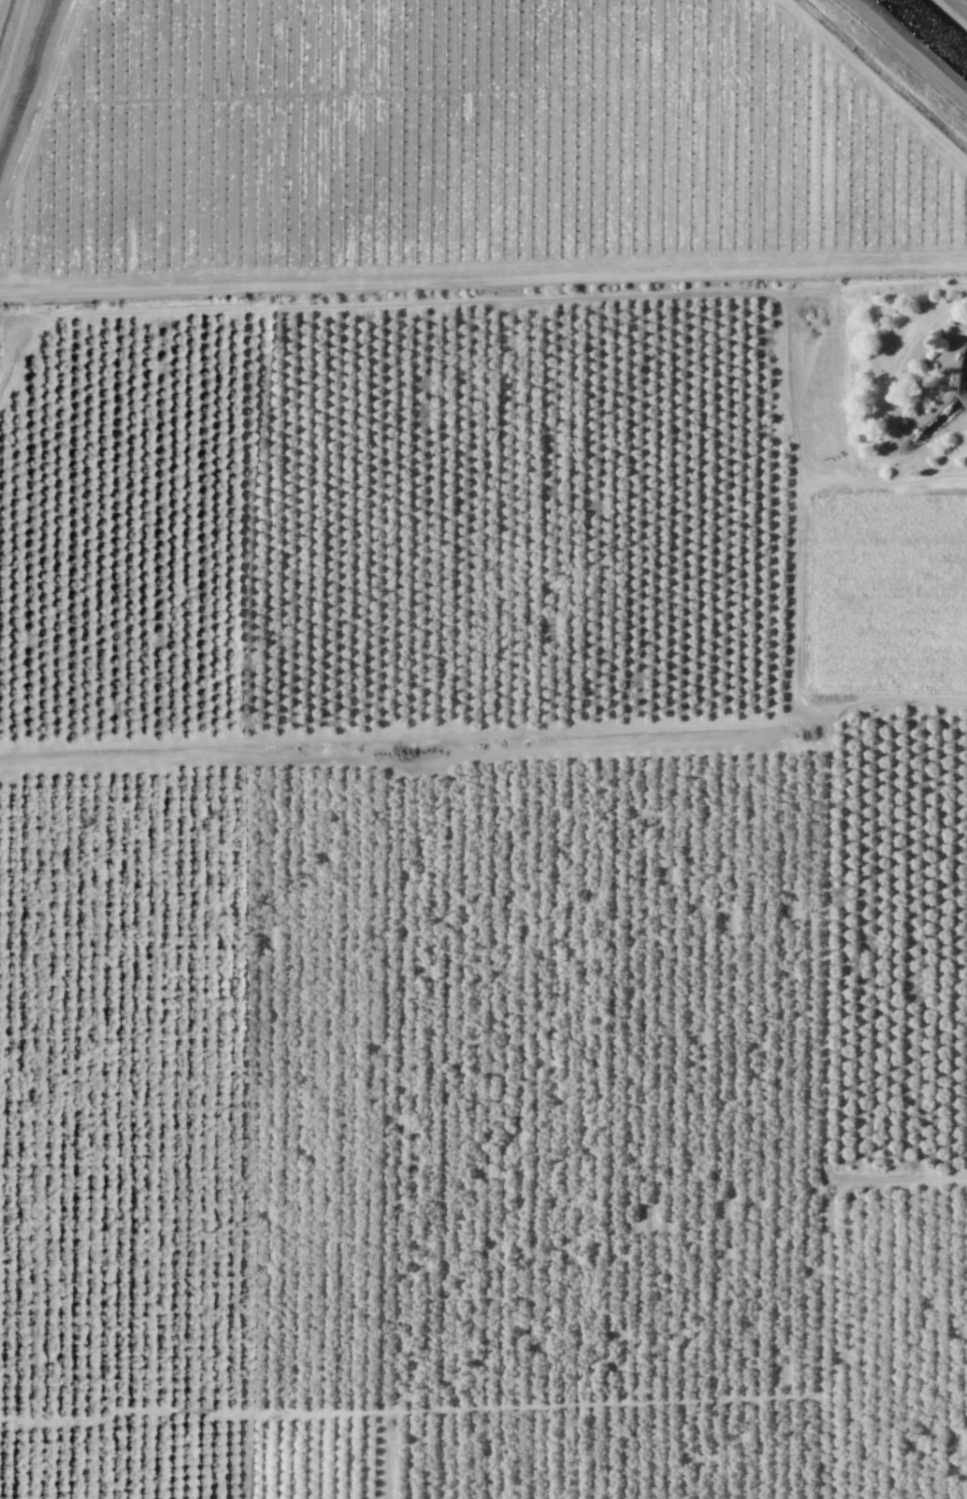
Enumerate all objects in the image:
road: (958, 7)
road: (6, 21)
road: (873, 85)
crop: (451, 149)
road: (483, 282)
road: (577, 297)
road: (854, 303)
road: (885, 378)
road: (946, 460)
road: (880, 484)
crop: (876, 599)
road: (897, 698)
road: (815, 714)
road: (400, 736)
road: (430, 761)
road: (824, 1028)
road: (823, 1281)
road: (651, 1401)
road: (189, 1410)
road: (383, 1455)

